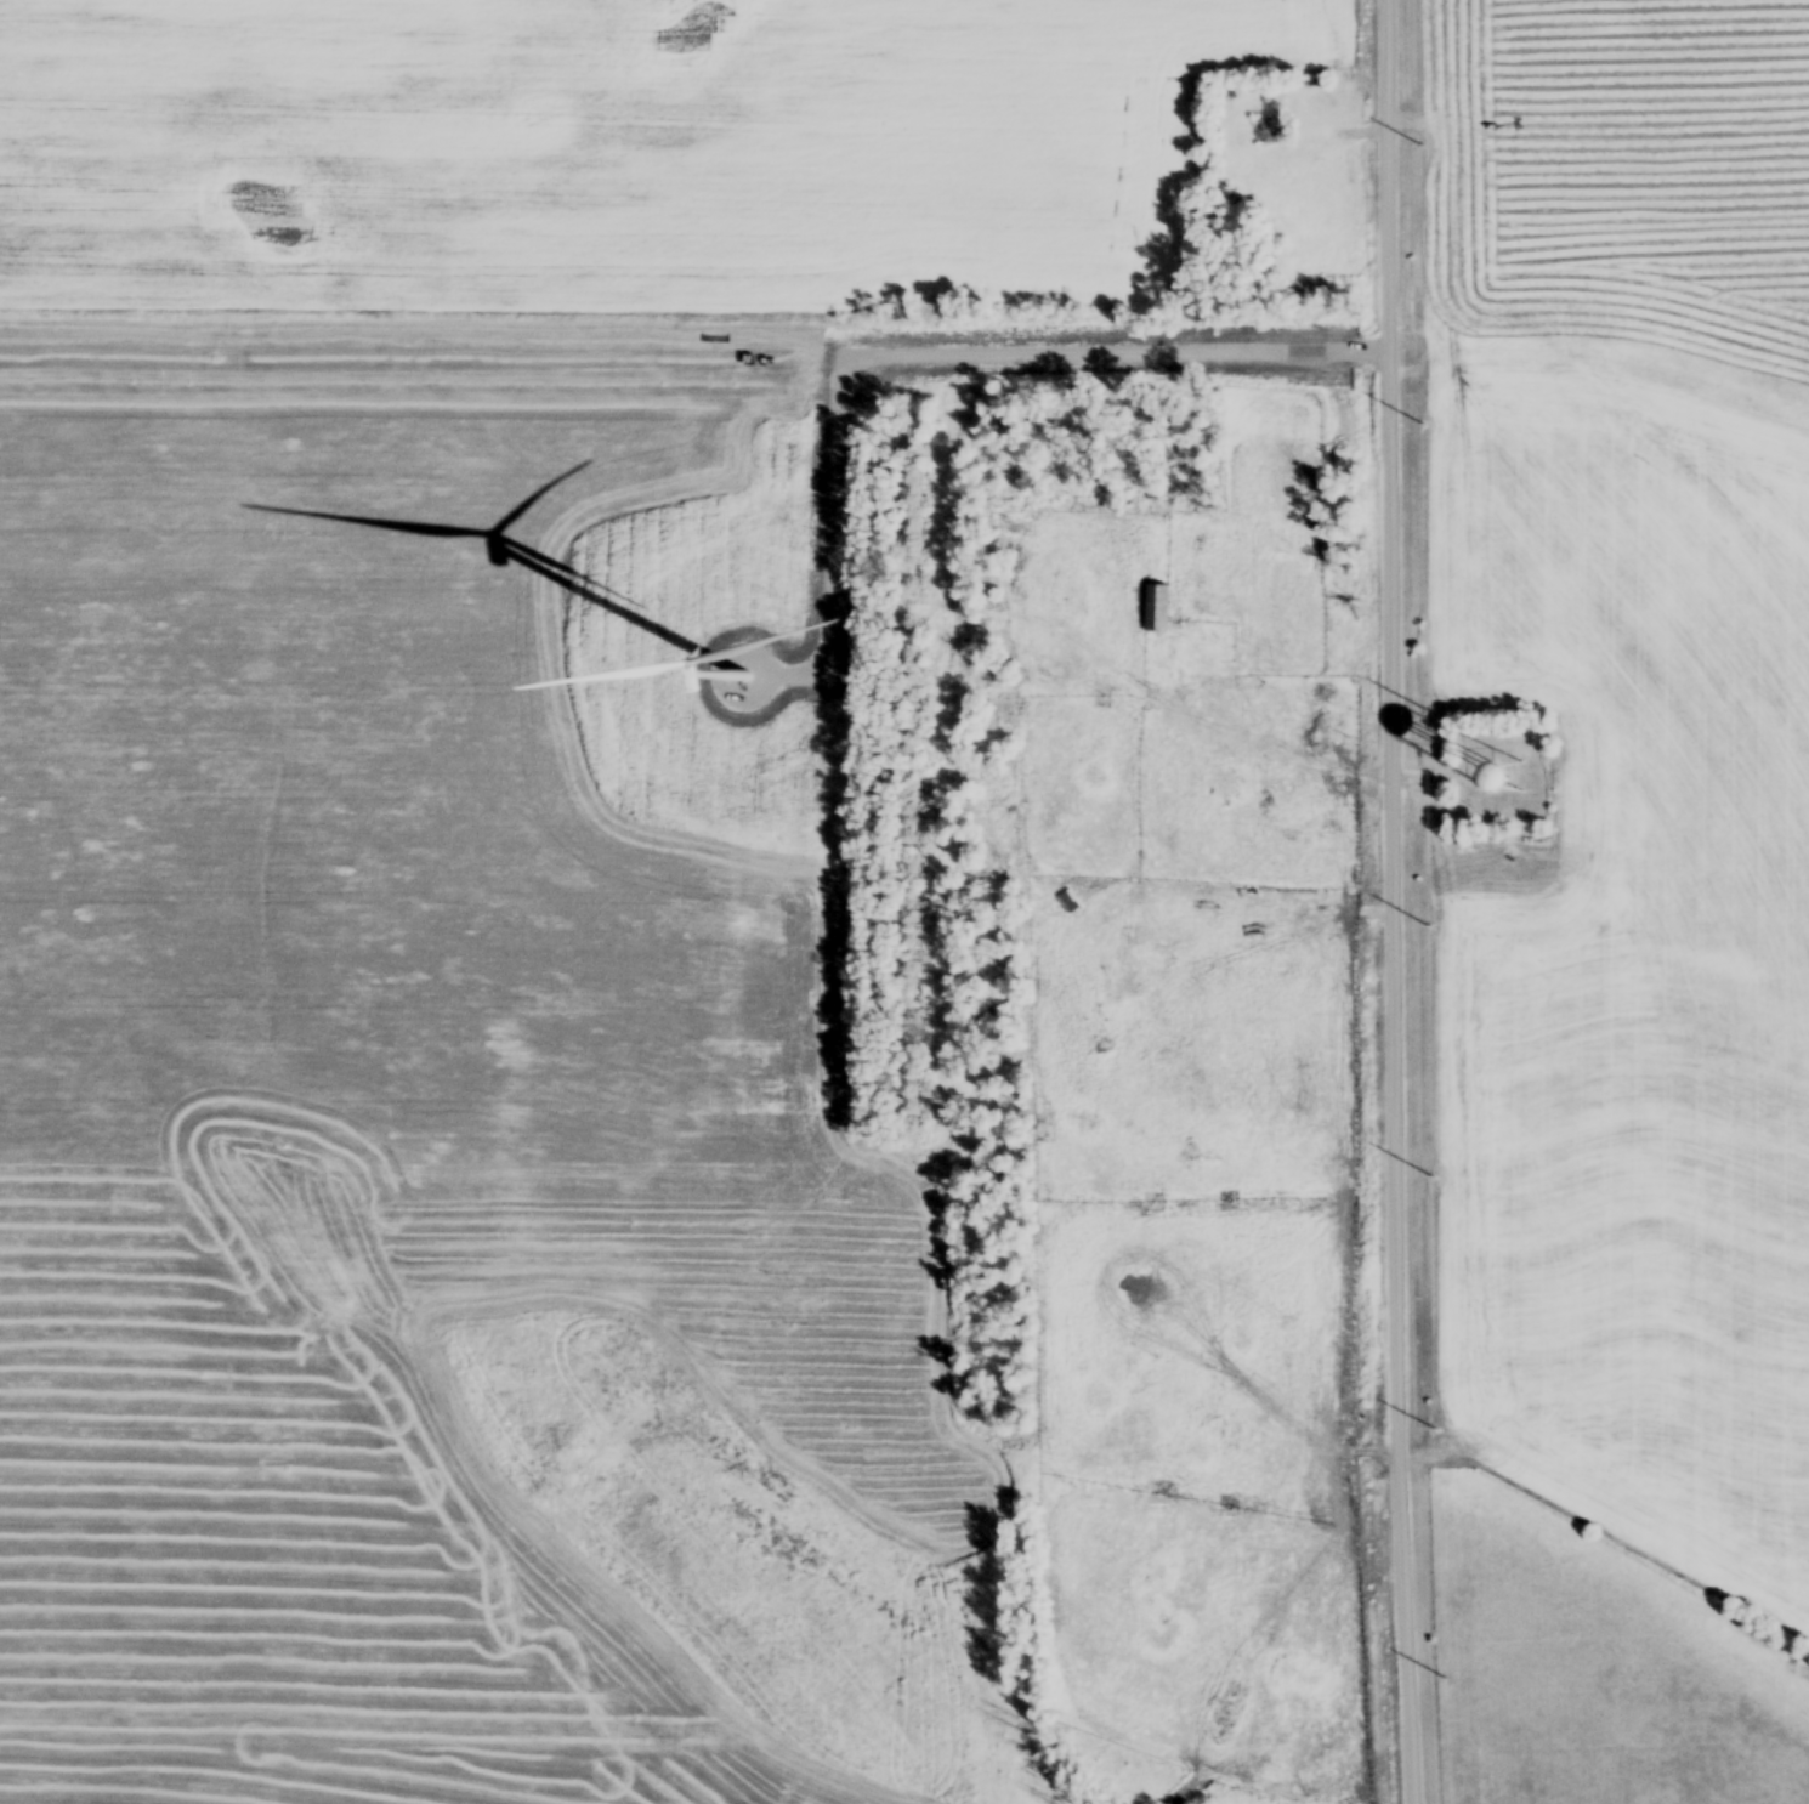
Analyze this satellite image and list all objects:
building: (1157, 612)
wind turbine: (730, 683)
building: (1181, 691)
water tower: (1493, 785)
building: (1497, 787)
road: (1407, 902)
building: (659, 1542)

